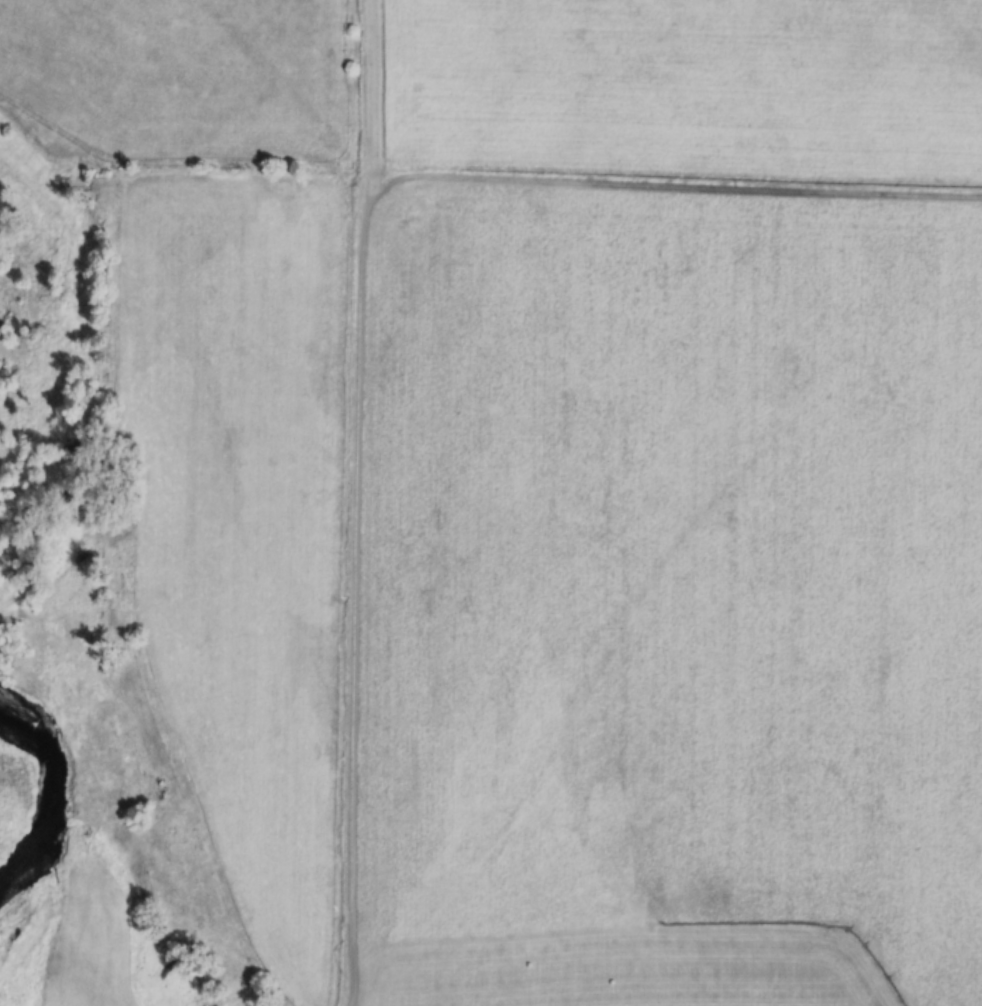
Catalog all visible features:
river: (49, 807)

